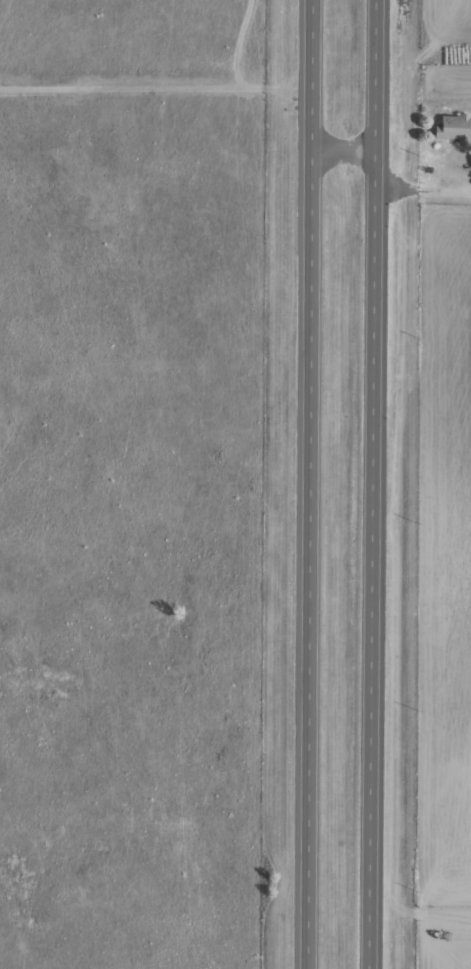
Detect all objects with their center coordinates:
building: (455, 130)
road: (392, 217)
road: (313, 484)
road: (375, 484)

